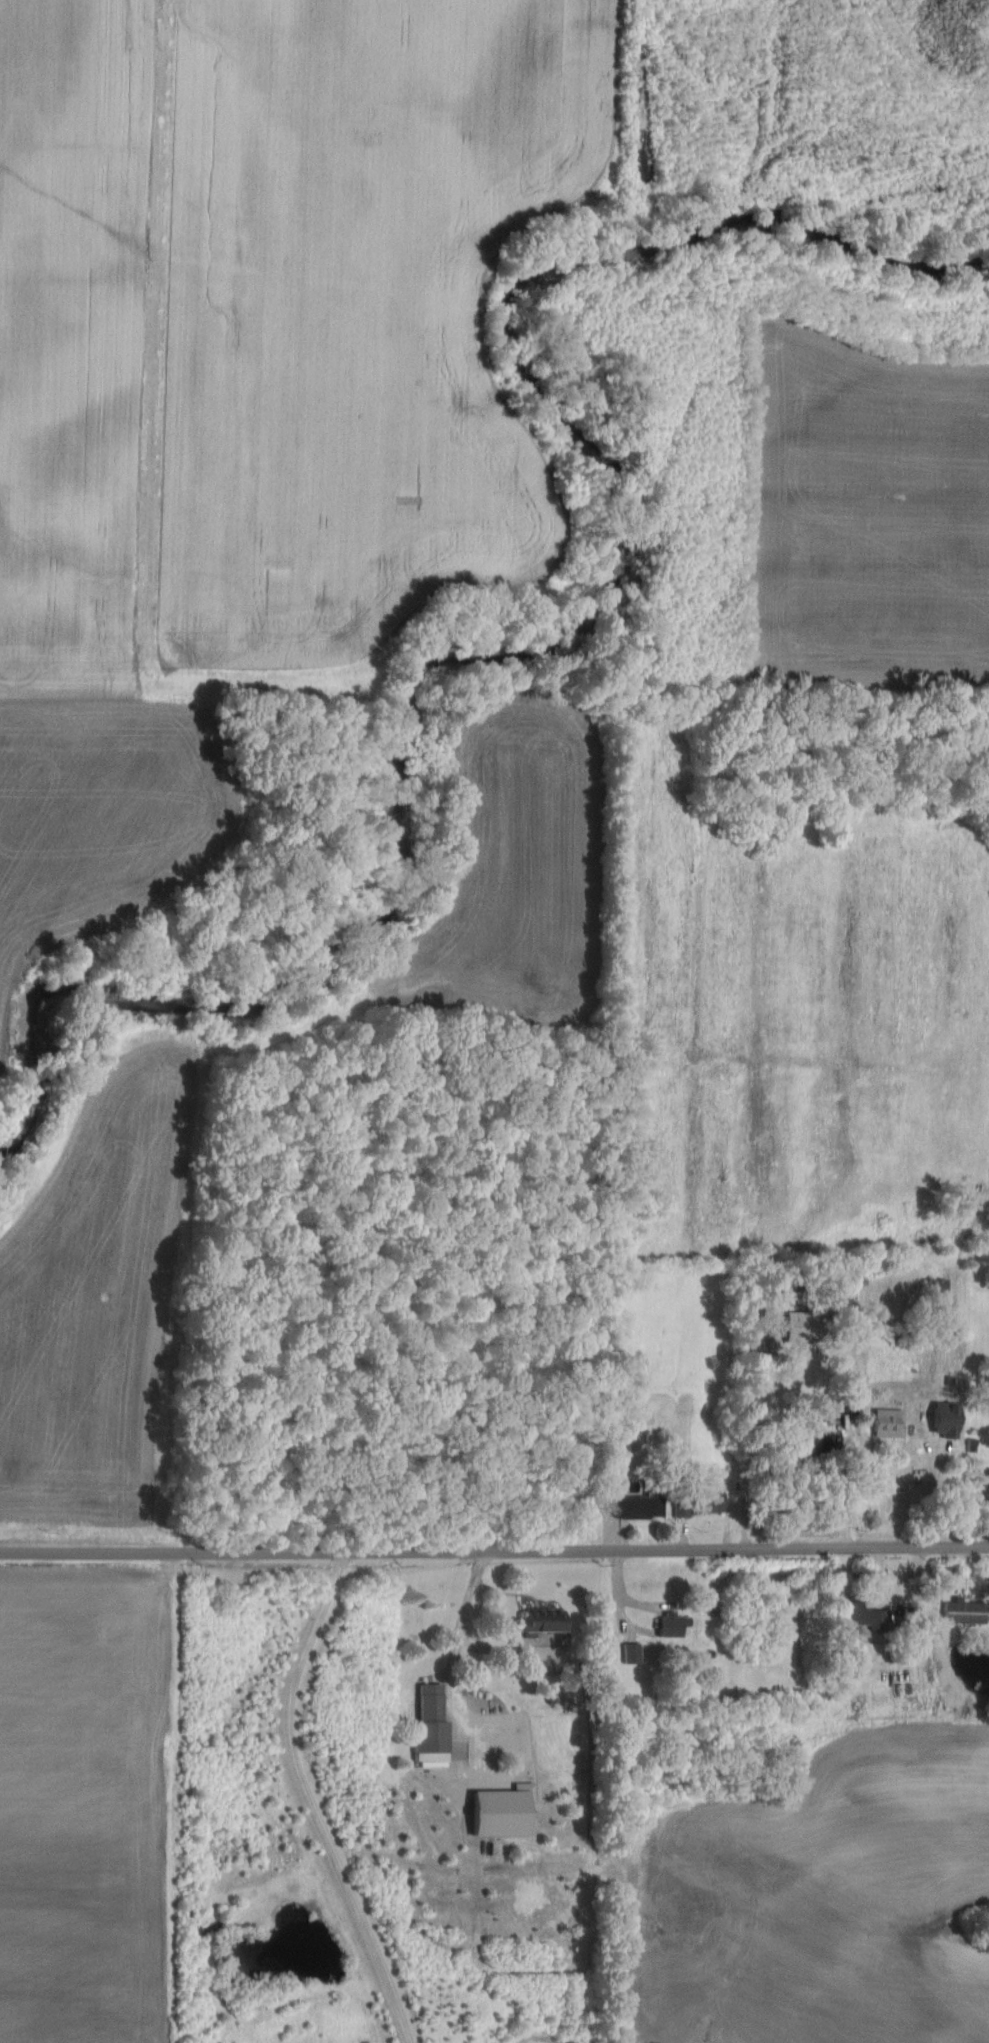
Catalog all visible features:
building: (939, 1291)
building: (808, 1327)
building: (949, 1418)
building: (892, 1422)
road: (750, 1428)
building: (624, 1452)
building: (986, 1477)
road: (933, 1493)
building: (712, 1502)
building: (641, 1507)
building: (686, 1507)
road: (494, 1551)
building: (966, 1611)
building: (866, 1615)
road: (462, 1617)
building: (547, 1621)
building: (676, 1624)
building: (634, 1653)
road: (449, 1681)
building: (434, 1726)
road: (311, 1799)
crop: (84, 1803)
building: (505, 1812)

